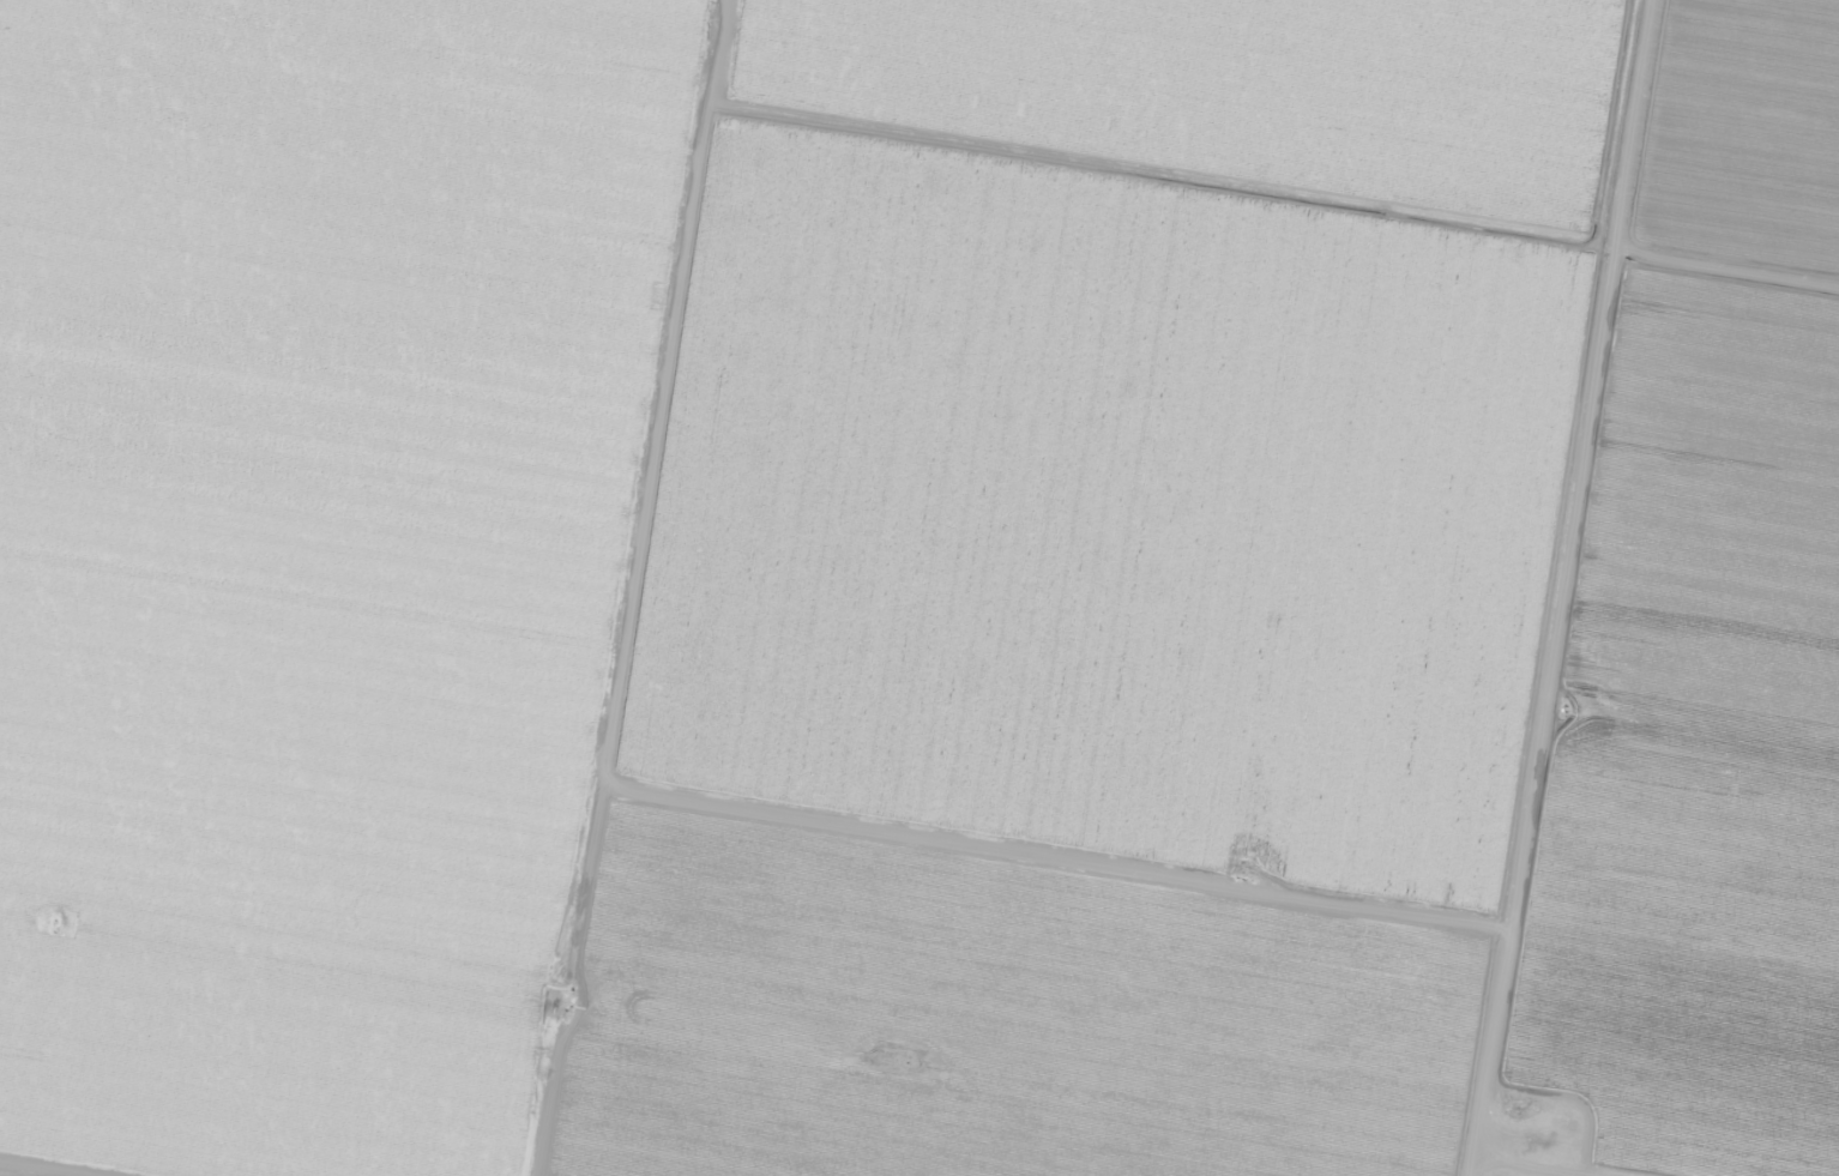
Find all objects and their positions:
road: (1736, 247)
road: (1572, 587)
road: (1507, 1170)

